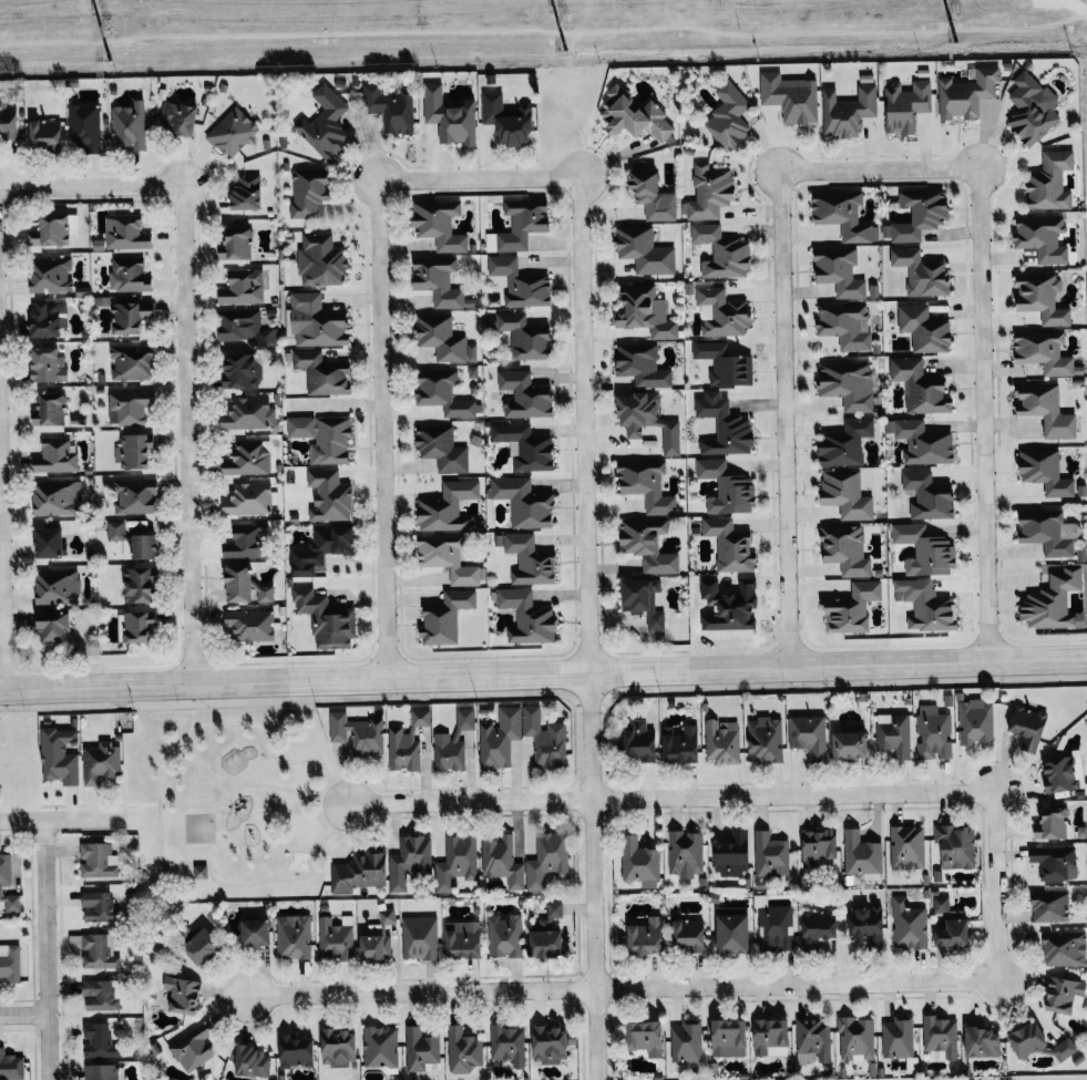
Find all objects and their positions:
power tower: (955, 10)
power tower: (564, 18)
power tower: (107, 27)
power tower: (955, 42)
power tower: (564, 50)
power tower: (107, 61)
building: (966, 94)
building: (790, 96)
building: (905, 106)
building: (390, 107)
building: (1030, 107)
building: (848, 111)
building: (633, 115)
building: (450, 116)
building: (177, 117)
building: (728, 117)
building: (8, 119)
building: (507, 120)
building: (326, 123)
building: (129, 125)
building: (84, 126)
building: (232, 132)
building: (45, 133)
building: (1050, 181)
road: (37, 186)
building: (246, 192)
building: (309, 192)
building: (710, 193)
building: (654, 197)
building: (842, 215)
building: (439, 224)
building: (520, 225)
building: (50, 230)
building: (123, 234)
building: (1042, 238)
building: (237, 245)
building: (644, 250)
building: (721, 253)
building: (320, 260)
building: (840, 271)
building: (921, 272)
building: (50, 275)
building: (129, 275)
building: (438, 280)
building: (520, 282)
building: (243, 287)
building: (1042, 298)
building: (645, 311)
building: (722, 312)
building: (130, 317)
building: (49, 319)
building: (316, 321)
building: (845, 325)
building: (244, 328)
building: (923, 328)
building: (525, 337)
building: (442, 339)
building: (1044, 351)
building: (131, 361)
building: (724, 364)
building: (47, 366)
building: (642, 366)
road: (983, 368)
building: (243, 371)
road: (781, 371)
building: (321, 373)
road: (583, 377)
road: (186, 379)
road: (380, 379)
building: (848, 384)
building: (920, 387)
building: (442, 393)
building: (524, 395)
building: (129, 405)
building: (1046, 409)
building: (51, 410)
building: (248, 414)
building: (648, 420)
building: (725, 426)
building: (322, 436)
building: (845, 443)
building: (924, 443)
building: (524, 446)
building: (442, 449)
building: (133, 452)
building: (55, 456)
building: (248, 459)
building: (1045, 472)
building: (646, 484)
building: (727, 488)
building: (847, 494)
building: (134, 495)
building: (328, 496)
building: (929, 496)
building: (57, 498)
building: (248, 498)
building: (523, 502)
building: (448, 507)
building: (115, 531)
building: (1049, 532)
building: (247, 542)
building: (49, 543)
building: (647, 544)
building: (730, 545)
building: (142, 548)
building: (321, 548)
building: (845, 549)
building: (925, 551)
building: (447, 558)
building: (530, 560)
building: (139, 585)
building: (57, 586)
building: (245, 586)
building: (644, 600)
building: (1054, 603)
building: (852, 608)
building: (527, 617)
building: (326, 619)
building: (250, 625)
building: (440, 625)
building: (139, 626)
building: (53, 627)
road: (543, 678)
building: (420, 717)
building: (975, 720)
building: (1028, 726)
building: (933, 731)
building: (357, 732)
building: (895, 734)
building: (809, 736)
building: (500, 737)
building: (545, 737)
building: (640, 739)
building: (765, 739)
building: (722, 740)
building: (454, 741)
building: (681, 743)
building: (851, 743)
building: (403, 749)
building: (59, 754)
building: (101, 761)
building: (1060, 772)
road: (165, 778)
road: (839, 793)
road: (232, 794)
road: (470, 801)
road: (227, 804)
park: (233, 804)
road: (60, 819)
building: (1053, 823)
park: (199, 827)
building: (956, 844)
building: (819, 845)
building: (906, 846)
building: (685, 853)
building: (734, 853)
building: (861, 853)
building: (770, 854)
building: (96, 860)
building: (409, 860)
building: (547, 860)
building: (455, 861)
building: (502, 861)
building: (639, 861)
building: (1054, 861)
building: (199, 871)
building: (359, 872)
road: (592, 878)
building: (8, 884)
building: (941, 904)
building: (96, 905)
building: (1050, 905)
building: (909, 924)
building: (868, 925)
building: (818, 926)
building: (776, 927)
building: (732, 928)
building: (256, 932)
building: (547, 933)
building: (953, 933)
building: (504, 934)
building: (689, 934)
building: (647, 935)
building: (294, 936)
building: (336, 936)
building: (378, 936)
building: (419, 937)
building: (463, 938)
building: (202, 946)
building: (1065, 948)
road: (45, 949)
building: (98, 950)
building: (9, 963)
road: (843, 984)
road: (421, 992)
building: (101, 994)
building: (183, 994)
building: (1066, 995)
road: (23, 1016)
building: (646, 1036)
building: (771, 1036)
building: (898, 1036)
building: (941, 1036)
building: (729, 1037)
building: (813, 1037)
building: (855, 1038)
building: (1027, 1039)
building: (99, 1040)
building: (687, 1040)
building: (983, 1041)
building: (507, 1042)
building: (552, 1042)
building: (338, 1047)
building: (192, 1048)
building: (420, 1048)
building: (1064, 1048)
building: (463, 1050)
building: (296, 1051)
building: (253, 1060)
building: (11, 1066)
building: (100, 1071)

